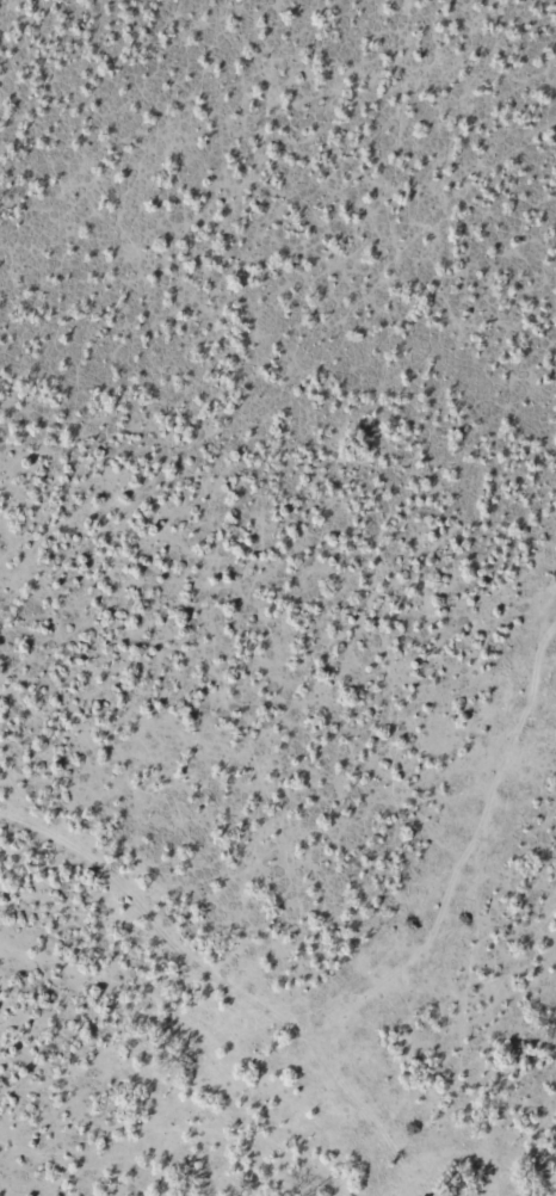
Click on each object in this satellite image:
road: (74, 910)
road: (297, 1064)

